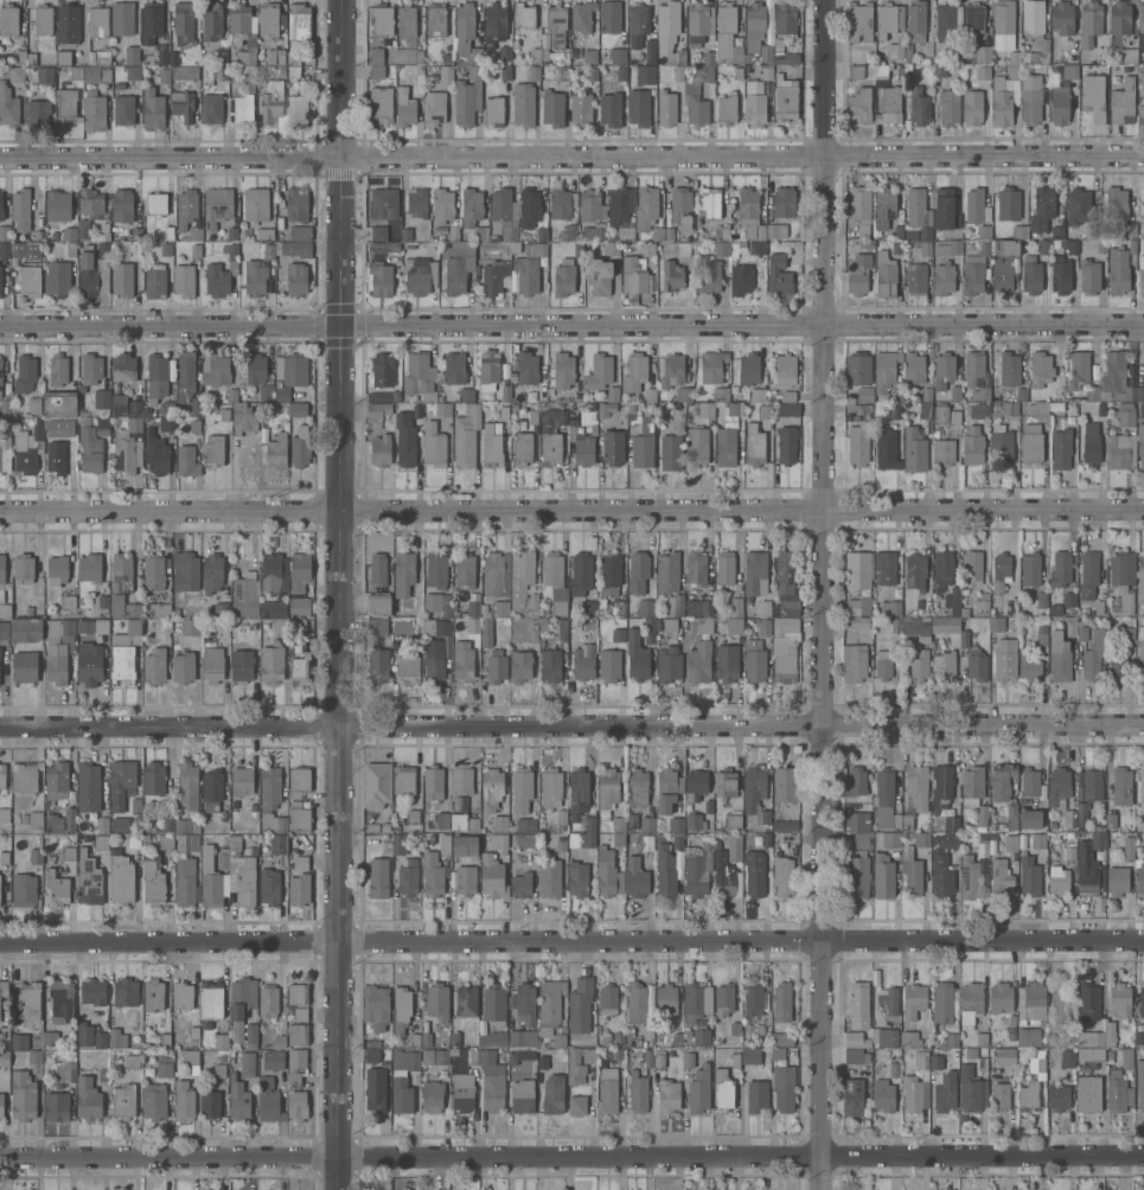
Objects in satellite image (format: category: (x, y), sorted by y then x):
building: (524, 15)
building: (582, 15)
building: (1034, 15)
building: (609, 17)
building: (785, 17)
building: (974, 17)
building: (1004, 17)
building: (1062, 17)
building: (121, 18)
building: (889, 18)
building: (1120, 18)
building: (8, 19)
building: (436, 19)
building: (465, 19)
building: (494, 19)
building: (43, 20)
building: (183, 20)
building: (268, 20)
building: (407, 20)
building: (945, 20)
building: (98, 21)
building: (151, 21)
building: (212, 21)
building: (298, 21)
building: (382, 21)
building: (699, 21)
building: (858, 21)
building: (916, 21)
building: (1091, 21)
building: (238, 23)
building: (68, 24)
building: (556, 24)
building: (638, 24)
building: (667, 25)
building: (754, 25)
building: (1140, 26)
building: (727, 36)
building: (1043, 44)
building: (650, 51)
building: (896, 51)
building: (498, 52)
building: (575, 52)
building: (766, 52)
building: (983, 52)
building: (908, 53)
building: (956, 53)
building: (536, 55)
building: (544, 55)
building: (618, 55)
building: (130, 56)
building: (375, 56)
building: (409, 56)
building: (469, 56)
building: (590, 56)
building: (680, 56)
building: (1068, 56)
building: (18, 57)
building: (102, 57)
building: (162, 57)
building: (245, 57)
building: (279, 57)
building: (707, 57)
building: (1015, 57)
building: (31, 58)
building: (63, 58)
building: (172, 58)
building: (221, 58)
building: (293, 58)
building: (749, 58)
building: (786, 58)
building: (281, 70)
building: (908, 70)
building: (940, 70)
building: (221, 71)
building: (292, 71)
building: (377, 71)
building: (855, 71)
building: (983, 71)
building: (1070, 71)
building: (12, 72)
building: (76, 72)
building: (184, 72)
building: (505, 72)
building: (535, 72)
building: (560, 72)
building: (593, 72)
building: (621, 72)
building: (678, 72)
building: (739, 72)
building: (767, 72)
building: (96, 73)
building: (133, 73)
building: (446, 73)
building: (646, 73)
building: (45, 75)
building: (164, 75)
building: (881, 75)
building: (1142, 76)
building: (415, 77)
building: (117, 85)
building: (786, 94)
building: (1005, 95)
building: (1093, 95)
building: (243, 96)
building: (467, 96)
building: (697, 97)
building: (1033, 97)
building: (270, 101)
building: (1123, 101)
building: (523, 103)
building: (755, 103)
building: (861, 103)
building: (381, 104)
building: (8, 105)
building: (181, 105)
building: (889, 105)
building: (919, 105)
building: (66, 107)
building: (404, 107)
building: (434, 107)
building: (638, 107)
building: (950, 107)
building: (972, 107)
building: (1060, 107)
building: (552, 108)
building: (581, 108)
building: (611, 108)
building: (666, 108)
building: (727, 108)
building: (152, 109)
building: (211, 109)
building: (296, 109)
building: (122, 110)
building: (493, 110)
building: (94, 111)
building: (38, 114)
building: (1140, 114)
road: (571, 154)
road: (344, 161)
building: (416, 199)
building: (90, 201)
building: (384, 201)
building: (561, 201)
building: (710, 201)
building: (784, 201)
building: (156, 203)
building: (859, 203)
building: (1008, 203)
building: (1117, 203)
building: (295, 204)
building: (57, 205)
building: (122, 205)
building: (255, 205)
building: (442, 205)
building: (589, 205)
building: (620, 205)
building: (974, 205)
building: (1143, 205)
building: (216, 206)
building: (471, 206)
building: (529, 206)
building: (682, 206)
building: (1079, 206)
building: (1, 207)
building: (646, 207)
building: (186, 209)
building: (1042, 209)
building: (884, 210)
building: (945, 210)
building: (21, 212)
building: (916, 212)
building: (503, 213)
building: (749, 213)
building: (83, 228)
building: (776, 230)
building: (863, 230)
building: (1130, 230)
building: (721, 231)
building: (899, 231)
building: (984, 231)
building: (1020, 231)
building: (1088, 231)
building: (5, 232)
building: (168, 232)
building: (299, 232)
building: (378, 232)
building: (481, 232)
building: (542, 232)
building: (569, 232)
building: (594, 232)
building: (622, 232)
building: (926, 232)
building: (1057, 232)
building: (38, 233)
building: (69, 233)
building: (100, 233)
building: (136, 233)
building: (192, 233)
building: (231, 233)
building: (264, 233)
building: (407, 233)
building: (658, 233)
building: (669, 233)
building: (867, 243)
building: (1132, 245)
building: (383, 247)
building: (479, 247)
building: (758, 247)
building: (897, 247)
building: (956, 247)
building: (1008, 247)
building: (1043, 247)
building: (1073, 247)
building: (19, 248)
building: (295, 248)
building: (612, 248)
building: (651, 248)
building: (722, 248)
building: (923, 248)
building: (71, 249)
building: (136, 249)
building: (166, 249)
building: (536, 249)
building: (577, 249)
building: (684, 249)
building: (985, 249)
building: (5, 250)
building: (196, 250)
building: (269, 250)
building: (459, 265)
building: (496, 267)
building: (1093, 270)
building: (1118, 270)
building: (94, 271)
building: (221, 273)
building: (858, 274)
building: (884, 274)
building: (1142, 274)
building: (420, 275)
building: (526, 275)
building: (597, 275)
building: (708, 275)
building: (1031, 275)
building: (634, 276)
building: (672, 276)
building: (778, 276)
building: (1003, 276)
building: (58, 277)
building: (254, 277)
building: (564, 277)
building: (944, 277)
building: (973, 277)
building: (1061, 277)
building: (122, 279)
building: (295, 279)
building: (381, 279)
building: (741, 279)
building: (915, 279)
building: (1, 281)
building: (30, 281)
building: (183, 281)
building: (155, 283)
road: (743, 321)
road: (172, 325)
building: (124, 366)
building: (712, 366)
building: (454, 367)
building: (528, 367)
building: (858, 367)
building: (914, 367)
building: (1143, 367)
building: (58, 369)
building: (256, 369)
building: (292, 369)
building: (748, 369)
building: (1009, 369)
building: (1040, 369)
building: (1079, 369)
building: (90, 370)
building: (216, 370)
building: (383, 370)
building: (488, 370)
building: (563, 370)
building: (672, 370)
building: (785, 370)
building: (884, 370)
building: (944, 370)
building: (186, 371)
building: (599, 371)
building: (634, 372)
building: (1, 373)
building: (25, 373)
building: (156, 376)
building: (420, 376)
building: (976, 376)
building: (1116, 378)
building: (277, 383)
building: (550, 391)
building: (267, 392)
building: (577, 392)
building: (956, 392)
building: (281, 394)
building: (506, 394)
building: (613, 394)
building: (651, 394)
building: (680, 394)
building: (721, 394)
building: (865, 394)
building: (1093, 394)
building: (1140, 394)
building: (232, 395)
building: (466, 395)
building: (531, 395)
building: (756, 395)
building: (895, 395)
building: (927, 395)
building: (1022, 395)
building: (788, 396)
building: (378, 397)
building: (102, 398)
building: (60, 403)
building: (34, 404)
building: (120, 404)
building: (1055, 405)
building: (135, 407)
building: (166, 407)
building: (196, 407)
building: (735, 407)
building: (1010, 408)
building: (298, 409)
building: (443, 409)
building: (606, 409)
building: (704, 409)
building: (788, 409)
building: (893, 409)
building: (1036, 409)
building: (1101, 409)
building: (1142, 409)
building: (378, 410)
building: (416, 410)
building: (862, 410)
building: (926, 410)
building: (979, 410)
building: (765, 411)
building: (504, 412)
building: (224, 414)
building: (629, 414)
building: (660, 414)
building: (532, 416)
building: (945, 416)
building: (852, 417)
building: (1126, 417)
building: (244, 418)
building: (167, 424)
building: (102, 426)
building: (194, 426)
building: (68, 429)
building: (939, 433)
building: (551, 434)
building: (465, 435)
building: (404, 439)
building: (5, 442)
building: (580, 442)
building: (1031, 443)
building: (1091, 443)
building: (1140, 443)
building: (697, 444)
building: (754, 444)
building: (786, 444)
building: (128, 446)
building: (434, 446)
building: (491, 446)
building: (857, 446)
building: (973, 446)
building: (1002, 446)
building: (28, 447)
building: (300, 447)
building: (613, 447)
building: (643, 447)
building: (726, 447)
building: (523, 448)
building: (213, 449)
building: (379, 449)
building: (886, 449)
building: (1062, 449)
building: (90, 450)
building: (277, 450)
building: (914, 450)
building: (1121, 450)
building: (670, 452)
building: (944, 452)
building: (57, 458)
building: (156, 458)
building: (187, 461)
road: (571, 506)
building: (89, 567)
building: (1091, 567)
building: (23, 568)
building: (724, 568)
building: (884, 568)
building: (972, 568)
building: (377, 569)
building: (465, 569)
building: (551, 569)
building: (696, 569)
building: (942, 569)
building: (1062, 569)
building: (1, 570)
building: (58, 570)
building: (435, 570)
building: (857, 570)
building: (914, 570)
building: (185, 571)
building: (1001, 571)
building: (1033, 571)
building: (121, 572)
building: (154, 572)
building: (212, 572)
building: (274, 572)
building: (299, 572)
building: (638, 572)
building: (666, 572)
building: (755, 572)
building: (403, 574)
building: (497, 574)
building: (580, 574)
building: (611, 574)
building: (1123, 581)
building: (1140, 581)
building: (523, 582)
building: (785, 583)
road: (824, 595)
building: (245, 597)
building: (1014, 599)
building: (953, 600)
building: (1069, 600)
building: (38, 601)
building: (68, 601)
building: (79, 601)
building: (377, 603)
building: (919, 603)
building: (1041, 603)
building: (100, 604)
building: (446, 604)
building: (675, 604)
building: (980, 604)
building: (300, 606)
building: (473, 606)
building: (1098, 606)
building: (133, 607)
building: (562, 607)
building: (618, 607)
building: (698, 607)
building: (736, 607)
building: (858, 607)
building: (891, 607)
building: (500, 608)
building: (588, 608)
building: (646, 608)
building: (763, 608)
building: (160, 609)
building: (222, 609)
building: (274, 609)
building: (28, 610)
building: (5, 612)
building: (177, 612)
building: (601, 612)
building: (966, 612)
building: (426, 613)
building: (542, 622)
building: (857, 622)
building: (165, 623)
building: (471, 623)
building: (997, 623)
building: (1011, 623)
building: (281, 625)
building: (298, 625)
building: (403, 625)
building: (666, 625)
building: (704, 625)
building: (734, 625)
building: (896, 625)
building: (945, 625)
building: (87, 626)
building: (376, 626)
building: (589, 626)
building: (784, 626)
building: (188, 627)
building: (436, 627)
building: (916, 627)
building: (560, 628)
building: (1072, 628)
building: (5, 629)
building: (26, 629)
building: (648, 629)
building: (486, 632)
building: (766, 632)
building: (1081, 632)
building: (532, 633)
building: (1129, 633)
building: (620, 634)
building: (1041, 636)
building: (964, 639)
building: (541, 642)
building: (57, 648)
building: (0, 652)
building: (126, 652)
building: (1140, 652)
building: (1093, 654)
building: (637, 655)
building: (1059, 658)
building: (433, 659)
building: (1005, 659)
building: (464, 661)
building: (583, 661)
building: (754, 661)
building: (856, 661)
building: (273, 663)
building: (699, 663)
building: (727, 663)
building: (89, 664)
building: (212, 664)
building: (301, 664)
building: (667, 664)
building: (1029, 664)
building: (155, 665)
building: (242, 665)
building: (377, 665)
building: (550, 665)
building: (609, 665)
building: (785, 665)
building: (883, 665)
building: (24, 666)
building: (496, 666)
building: (520, 666)
building: (920, 666)
building: (944, 666)
building: (977, 666)
building: (184, 667)
building: (1118, 667)
building: (408, 668)
road: (571, 723)
road: (339, 755)
building: (2, 775)
building: (25, 776)
building: (153, 778)
building: (461, 779)
building: (403, 780)
building: (1002, 780)
building: (57, 781)
building: (241, 781)
building: (1030, 781)
building: (299, 782)
building: (432, 782)
building: (856, 782)
building: (942, 782)
building: (122, 783)
building: (724, 783)
building: (1143, 783)
building: (188, 785)
building: (212, 785)
building: (376, 785)
building: (695, 785)
building: (785, 785)
building: (550, 786)
building: (972, 786)
building: (1123, 786)
building: (88, 787)
building: (638, 787)
building: (754, 787)
building: (883, 787)
building: (1060, 787)
building: (608, 788)
building: (916, 788)
building: (491, 789)
building: (520, 789)
building: (667, 789)
building: (577, 793)
building: (1089, 795)
building: (270, 801)
building: (460, 802)
building: (136, 806)
building: (708, 806)
building: (5, 814)
building: (234, 814)
building: (982, 815)
building: (299, 817)
building: (413, 817)
building: (561, 817)
building: (765, 817)
building: (1011, 817)
building: (1069, 818)
building: (25, 819)
building: (70, 819)
building: (733, 819)
building: (1031, 819)
building: (36, 820)
building: (136, 820)
building: (441, 820)
building: (1111, 820)
building: (857, 821)
building: (896, 821)
building: (167, 823)
building: (459, 823)
building: (694, 823)
building: (786, 823)
building: (907, 823)
building: (950, 823)
building: (55, 824)
building: (121, 824)
building: (499, 824)
building: (590, 824)
building: (618, 824)
building: (647, 824)
building: (676, 824)
building: (103, 825)
building: (473, 825)
building: (525, 825)
building: (185, 826)
building: (1001, 826)
building: (371, 827)
building: (1052, 827)
building: (292, 836)
building: (659, 837)
building: (525, 839)
building: (587, 839)
building: (619, 839)
building: (766, 839)
building: (888, 839)
building: (921, 839)
building: (861, 840)
building: (1038, 840)
building: (1098, 840)
building: (134, 842)
building: (165, 842)
building: (186, 842)
building: (498, 842)
building: (101, 843)
building: (398, 843)
building: (645, 843)
building: (279, 844)
building: (561, 844)
building: (707, 844)
building: (716, 844)
building: (1010, 844)
building: (464, 845)
building: (445, 846)
building: (983, 846)
building: (734, 847)
building: (1070, 852)
building: (69, 853)
building: (36, 856)
building: (5, 857)
building: (50, 858)
building: (223, 858)
building: (300, 863)
building: (942, 864)
building: (669, 865)
building: (1087, 869)
building: (1121, 869)
building: (754, 872)
building: (241, 874)
building: (432, 874)
building: (607, 874)
building: (858, 874)
building: (912, 875)
building: (782, 876)
building: (883, 876)
building: (153, 877)
building: (492, 877)
building: (635, 877)
building: (695, 877)
building: (969, 877)
building: (1001, 877)
building: (1030, 877)
building: (121, 878)
building: (378, 878)
building: (408, 878)
building: (1140, 878)
building: (212, 879)
building: (550, 879)
building: (577, 879)
building: (186, 881)
building: (465, 881)
building: (724, 882)
building: (1059, 882)
building: (89, 883)
building: (520, 884)
building: (737, 884)
building: (269, 887)
building: (56, 888)
building: (299, 889)
building: (24, 890)
road: (571, 942)
building: (4, 987)
building: (94, 991)
building: (124, 991)
building: (298, 993)
building: (153, 994)
building: (183, 996)
building: (243, 996)
building: (1001, 997)
building: (666, 999)
building: (723, 999)
building: (781, 999)
building: (28, 1000)
building: (59, 1000)
building: (211, 1000)
building: (268, 1000)
building: (436, 1000)
building: (466, 1000)
building: (550, 1000)
building: (607, 1000)
building: (753, 1000)
building: (889, 1000)
building: (913, 1000)
building: (1120, 1000)
building: (1142, 1000)
building: (692, 1002)
building: (1035, 1002)
building: (1088, 1002)
building: (525, 1003)
building: (635, 1003)
building: (942, 1003)
building: (493, 1004)
building: (970, 1004)
building: (580, 1005)
building: (858, 1005)
building: (376, 1006)
building: (1061, 1006)
building: (401, 1010)
building: (300, 1015)
building: (734, 1029)
building: (237, 1030)
building: (1110, 1031)
building: (5, 1032)
building: (194, 1032)
building: (251, 1032)
building: (83, 1034)
building: (298, 1034)
building: (1011, 1034)
building: (49, 1037)
building: (136, 1037)
building: (607, 1037)
building: (702, 1037)
building: (886, 1037)
building: (1029, 1037)
building: (1139, 1037)
building: (116, 1038)
building: (454, 1038)
building: (522, 1038)
building: (619, 1038)
building: (100, 1039)
building: (165, 1039)
building: (493, 1039)
building: (781, 1039)
building: (855, 1039)
building: (909, 1039)
building: (952, 1039)
building: (982, 1039)
building: (1050, 1039)
building: (1091, 1039)
building: (19, 1041)
building: (222, 1041)
building: (280, 1041)
building: (411, 1041)
building: (426, 1041)
building: (558, 1041)
building: (677, 1041)
building: (371, 1043)
building: (5, 1044)
building: (386, 1044)
building: (971, 1053)
building: (616, 1054)
building: (1098, 1054)
building: (1111, 1054)
building: (371, 1055)
building: (852, 1055)
building: (34, 1056)
building: (750, 1056)
building: (776, 1056)
building: (1004, 1056)
building: (4, 1057)
building: (222, 1057)
building: (441, 1057)
building: (472, 1057)
building: (1126, 1057)
building: (647, 1058)
building: (659, 1058)
building: (190, 1060)
building: (273, 1060)
building: (405, 1060)
building: (689, 1060)
building: (905, 1060)
building: (921, 1060)
building: (1068, 1060)
building: (132, 1061)
building: (543, 1062)
building: (937, 1063)
building: (248, 1064)
building: (513, 1064)
building: (982, 1064)
building: (162, 1067)
building: (295, 1067)
building: (576, 1069)
building: (219, 1070)
building: (894, 1070)
building: (64, 1071)
building: (102, 1074)
building: (491, 1081)
building: (727, 1082)
building: (1140, 1083)
building: (1031, 1085)
building: (784, 1088)
building: (375, 1089)
building: (698, 1090)
building: (971, 1090)
building: (462, 1092)
building: (1118, 1092)
building: (608, 1093)
building: (945, 1093)
building: (552, 1094)
building: (638, 1094)
building: (914, 1094)
building: (1089, 1094)
building: (23, 1095)
building: (401, 1095)
building: (667, 1095)
building: (883, 1095)
building: (432, 1096)
building: (522, 1096)
building: (756, 1096)
building: (852, 1096)
building: (1001, 1096)
building: (1059, 1098)
building: (238, 1099)
building: (87, 1100)
building: (122, 1101)
building: (154, 1101)
building: (183, 1101)
building: (268, 1101)
building: (1, 1105)
building: (210, 1105)
building: (296, 1105)
building: (577, 1106)
building: (56, 1107)
building: (961, 1118)
road: (571, 1157)

